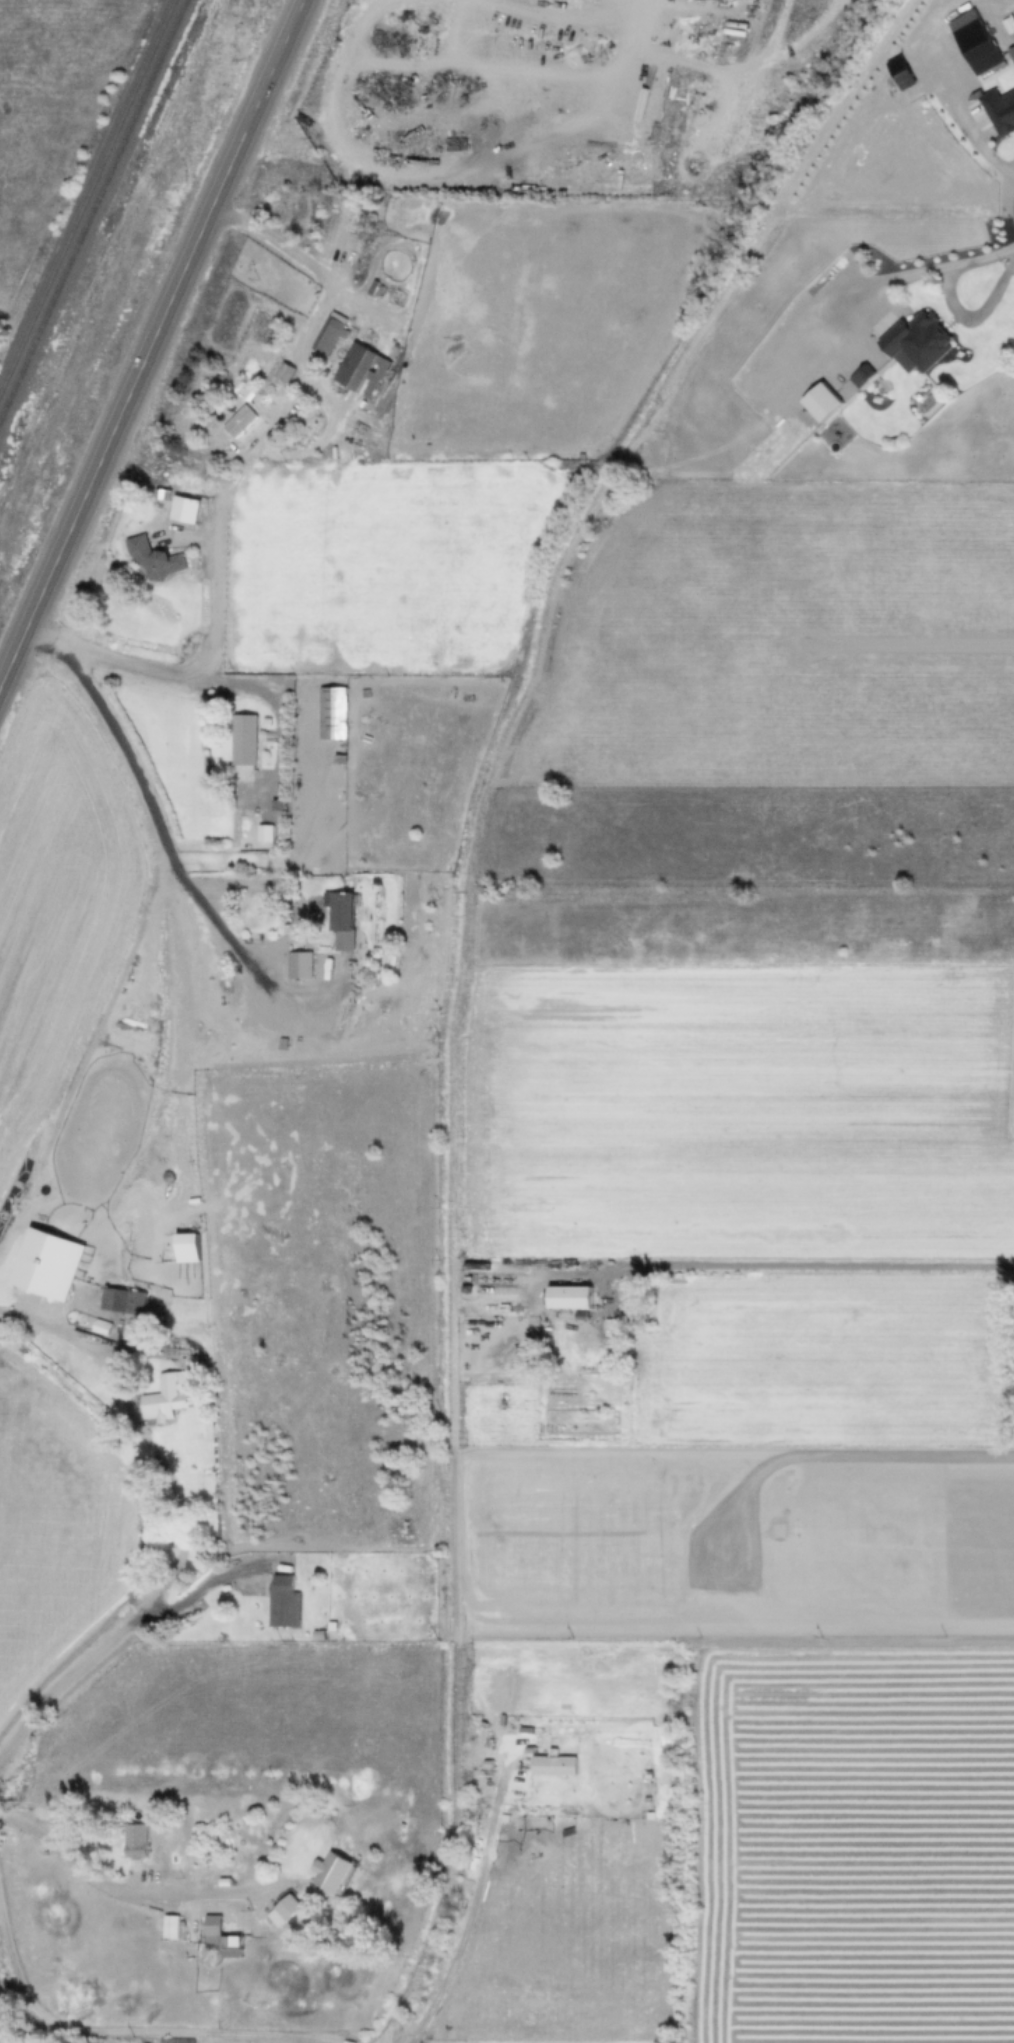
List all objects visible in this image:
railway: (86, 197)
railway: (94, 213)
building: (344, 218)
road: (304, 259)
road: (951, 302)
building: (272, 334)
building: (331, 334)
building: (917, 341)
road: (148, 349)
building: (365, 371)
building: (287, 373)
building: (859, 374)
building: (234, 427)
building: (159, 560)
road: (217, 596)
building: (335, 712)
building: (248, 739)
building: (267, 834)
building: (346, 921)
road: (225, 926)
building: (303, 965)
road: (177, 1229)
building: (50, 1262)
building: (574, 1297)
building: (125, 1301)
road: (34, 1312)
building: (166, 1397)
road: (114, 1465)
building: (285, 1602)
building: (138, 1841)
building: (336, 1872)
road: (118, 1883)
road: (474, 1905)
building: (291, 1908)
building: (173, 1927)
building: (224, 1938)
road: (60, 2025)
road: (267, 2034)
road: (212, 2037)
building: (180, 2041)
road: (319, 2041)

